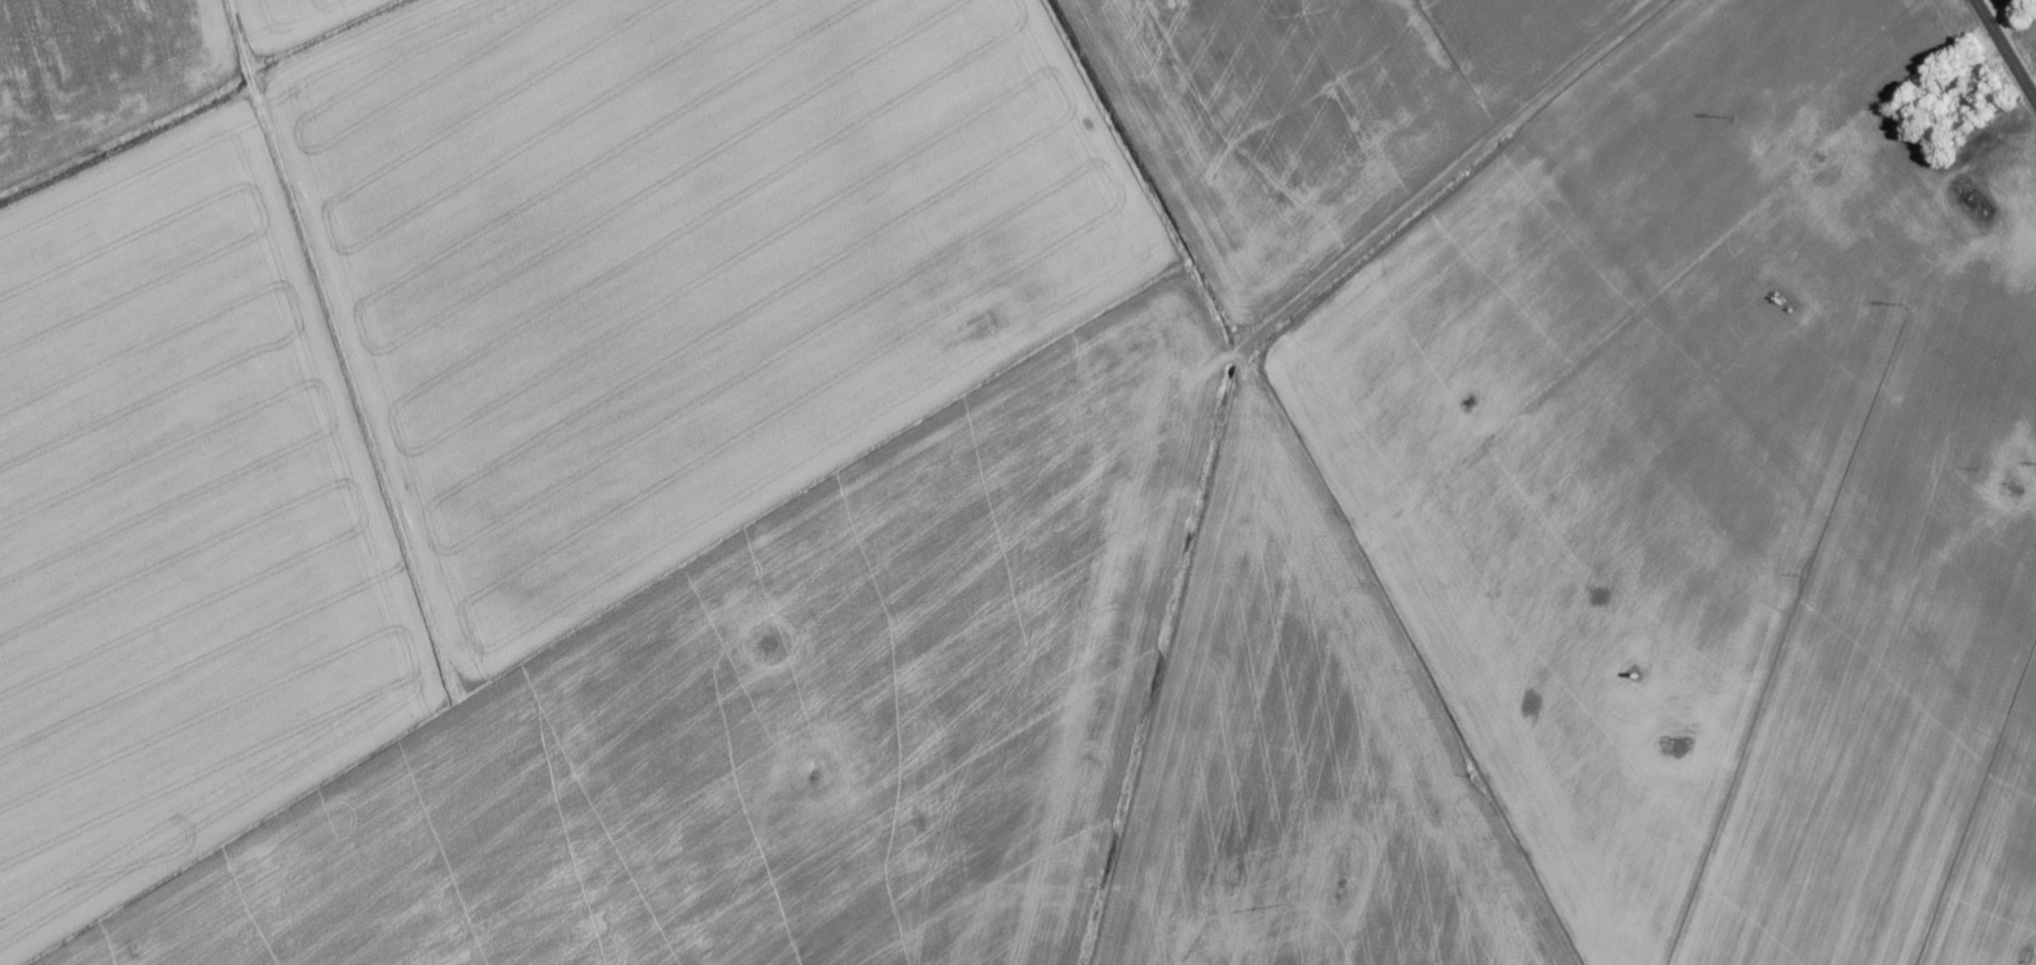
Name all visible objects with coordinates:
road: (2005, 51)

